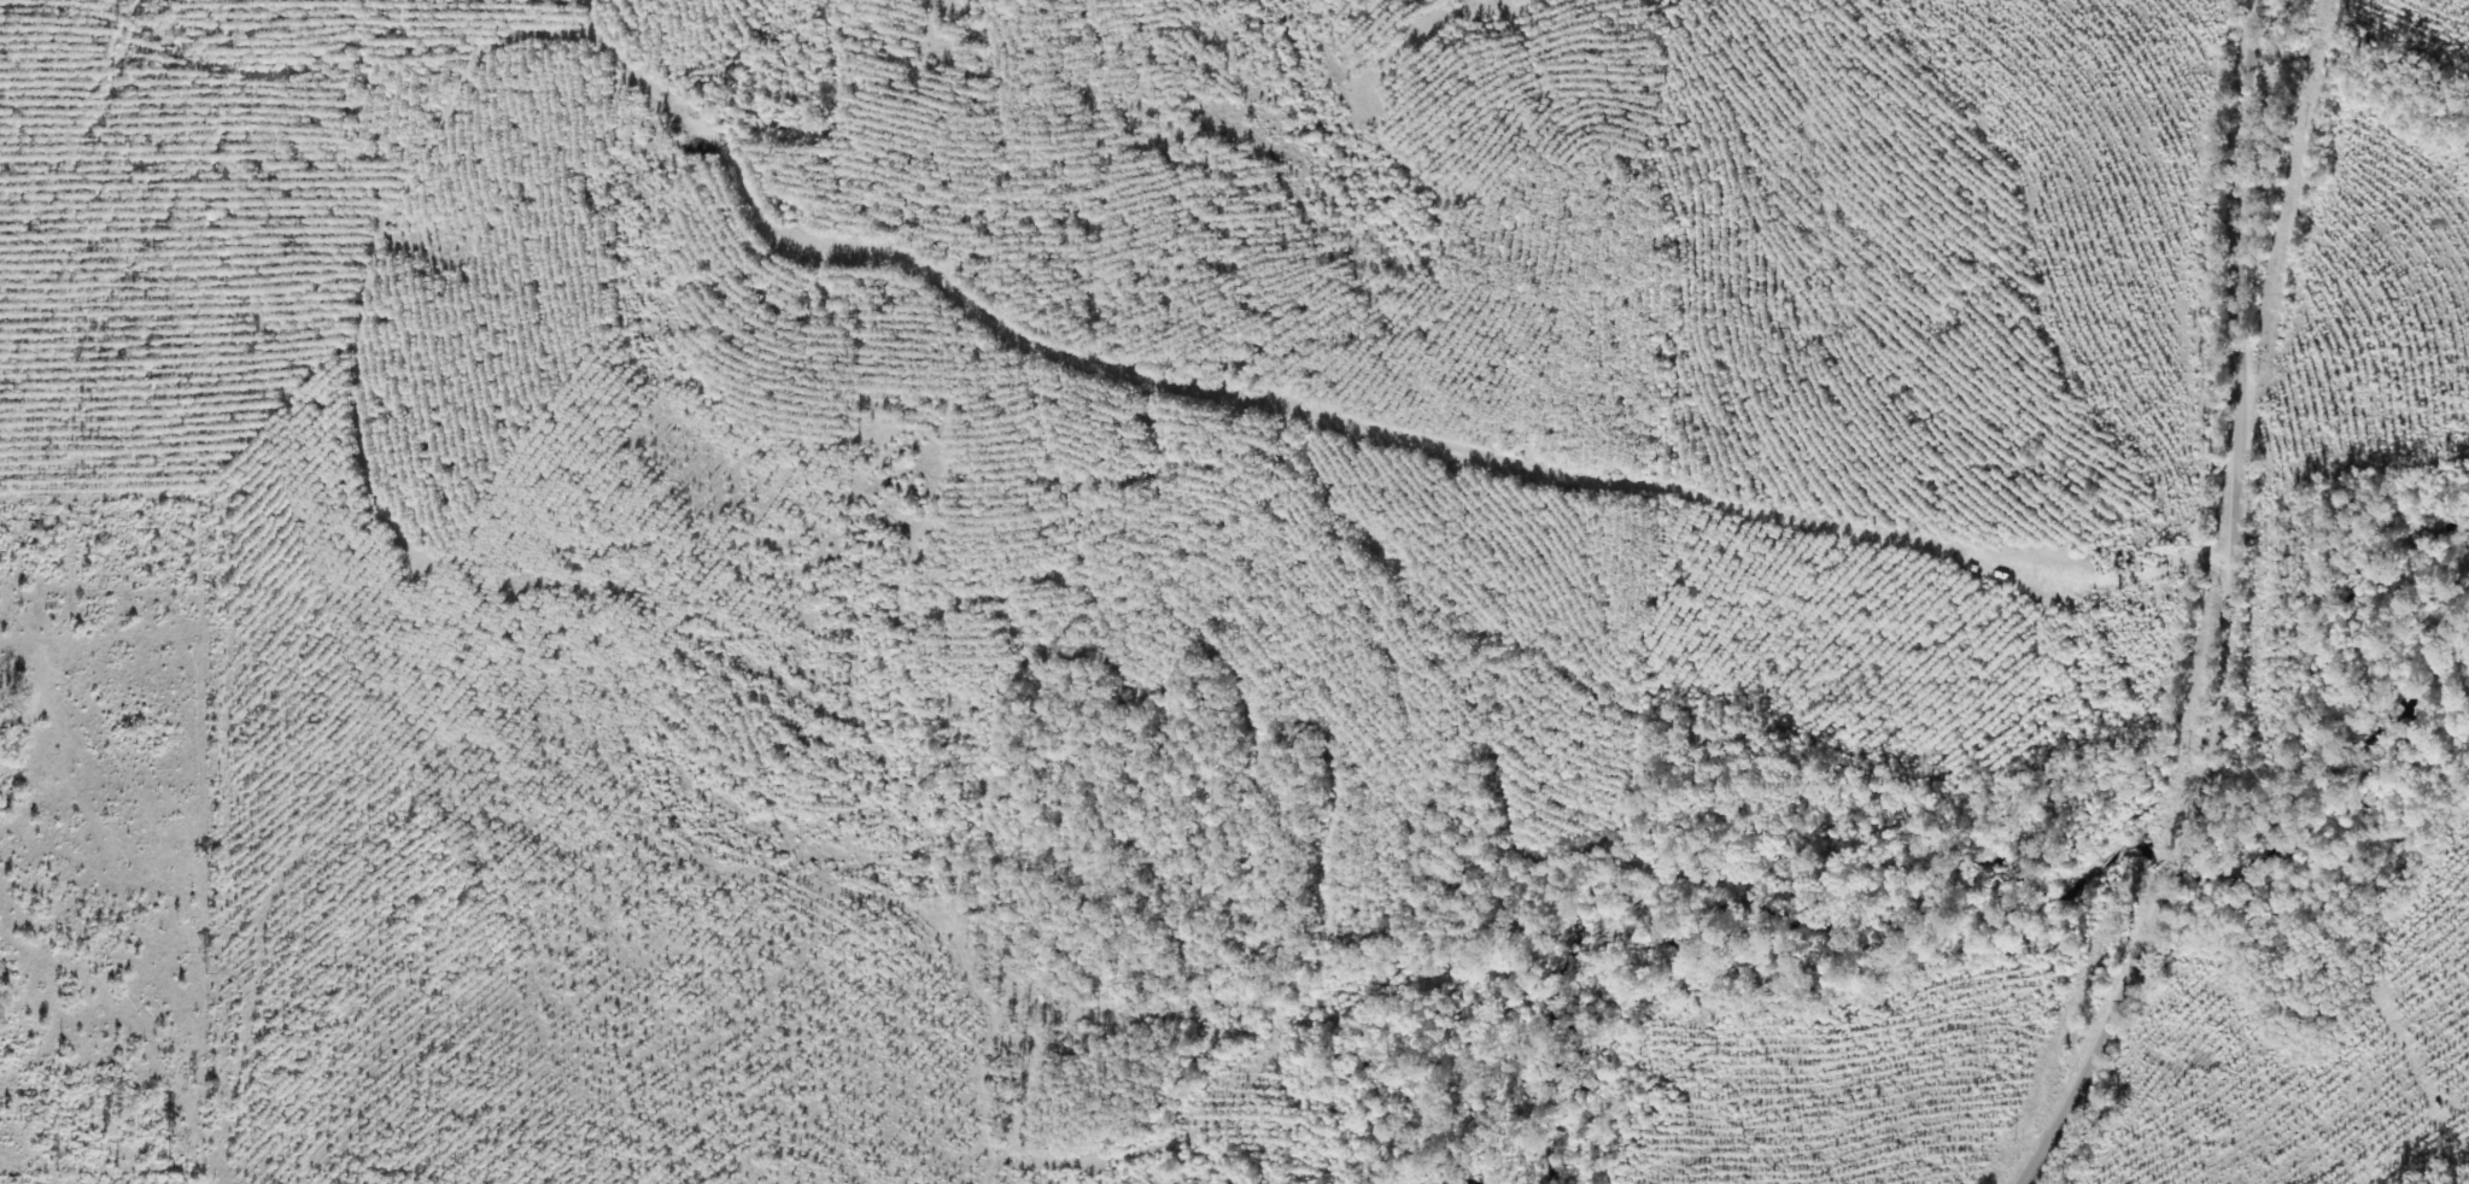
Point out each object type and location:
road: (1113, 442)
road: (2230, 610)

